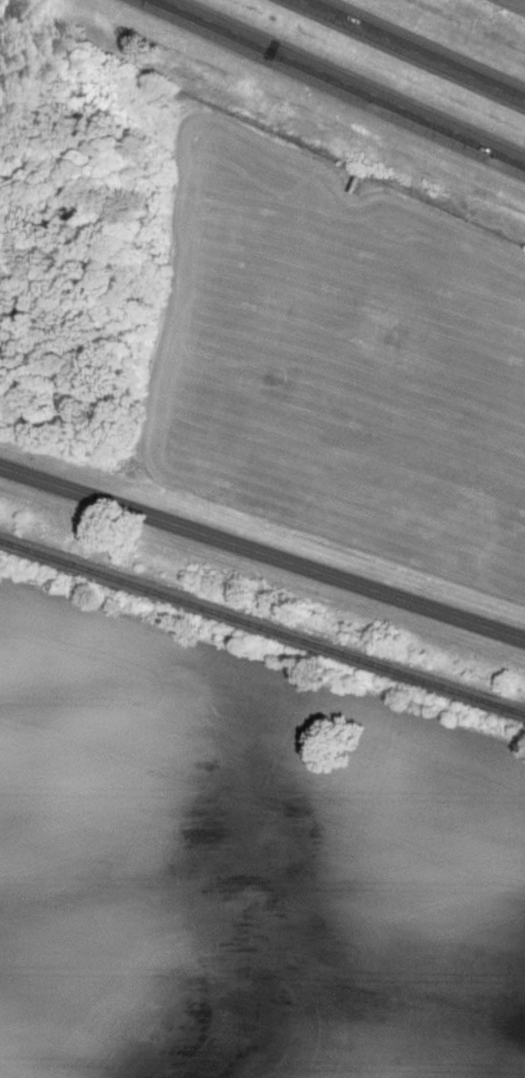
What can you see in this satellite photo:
road: (416, 49)
road: (346, 79)
road: (262, 551)
railway: (262, 625)

